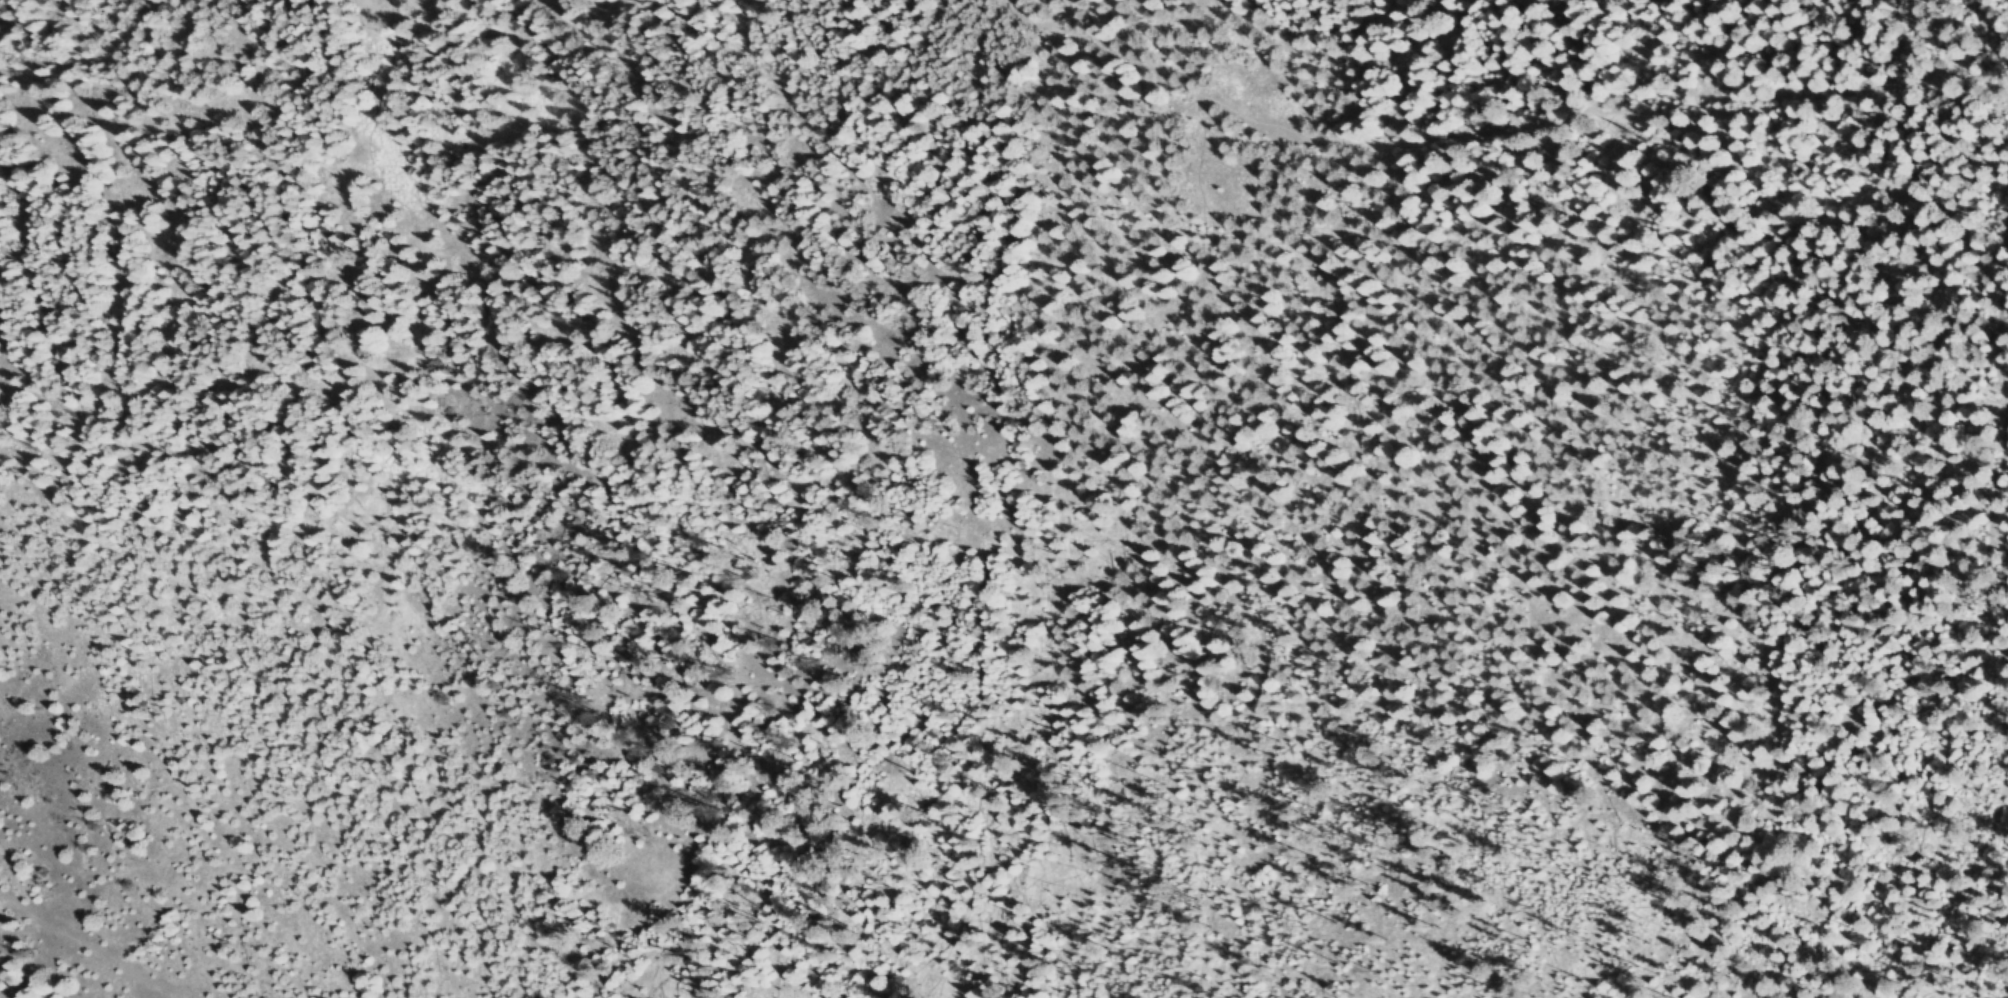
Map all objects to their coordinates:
road: (1991, 34)
road: (1978, 574)

